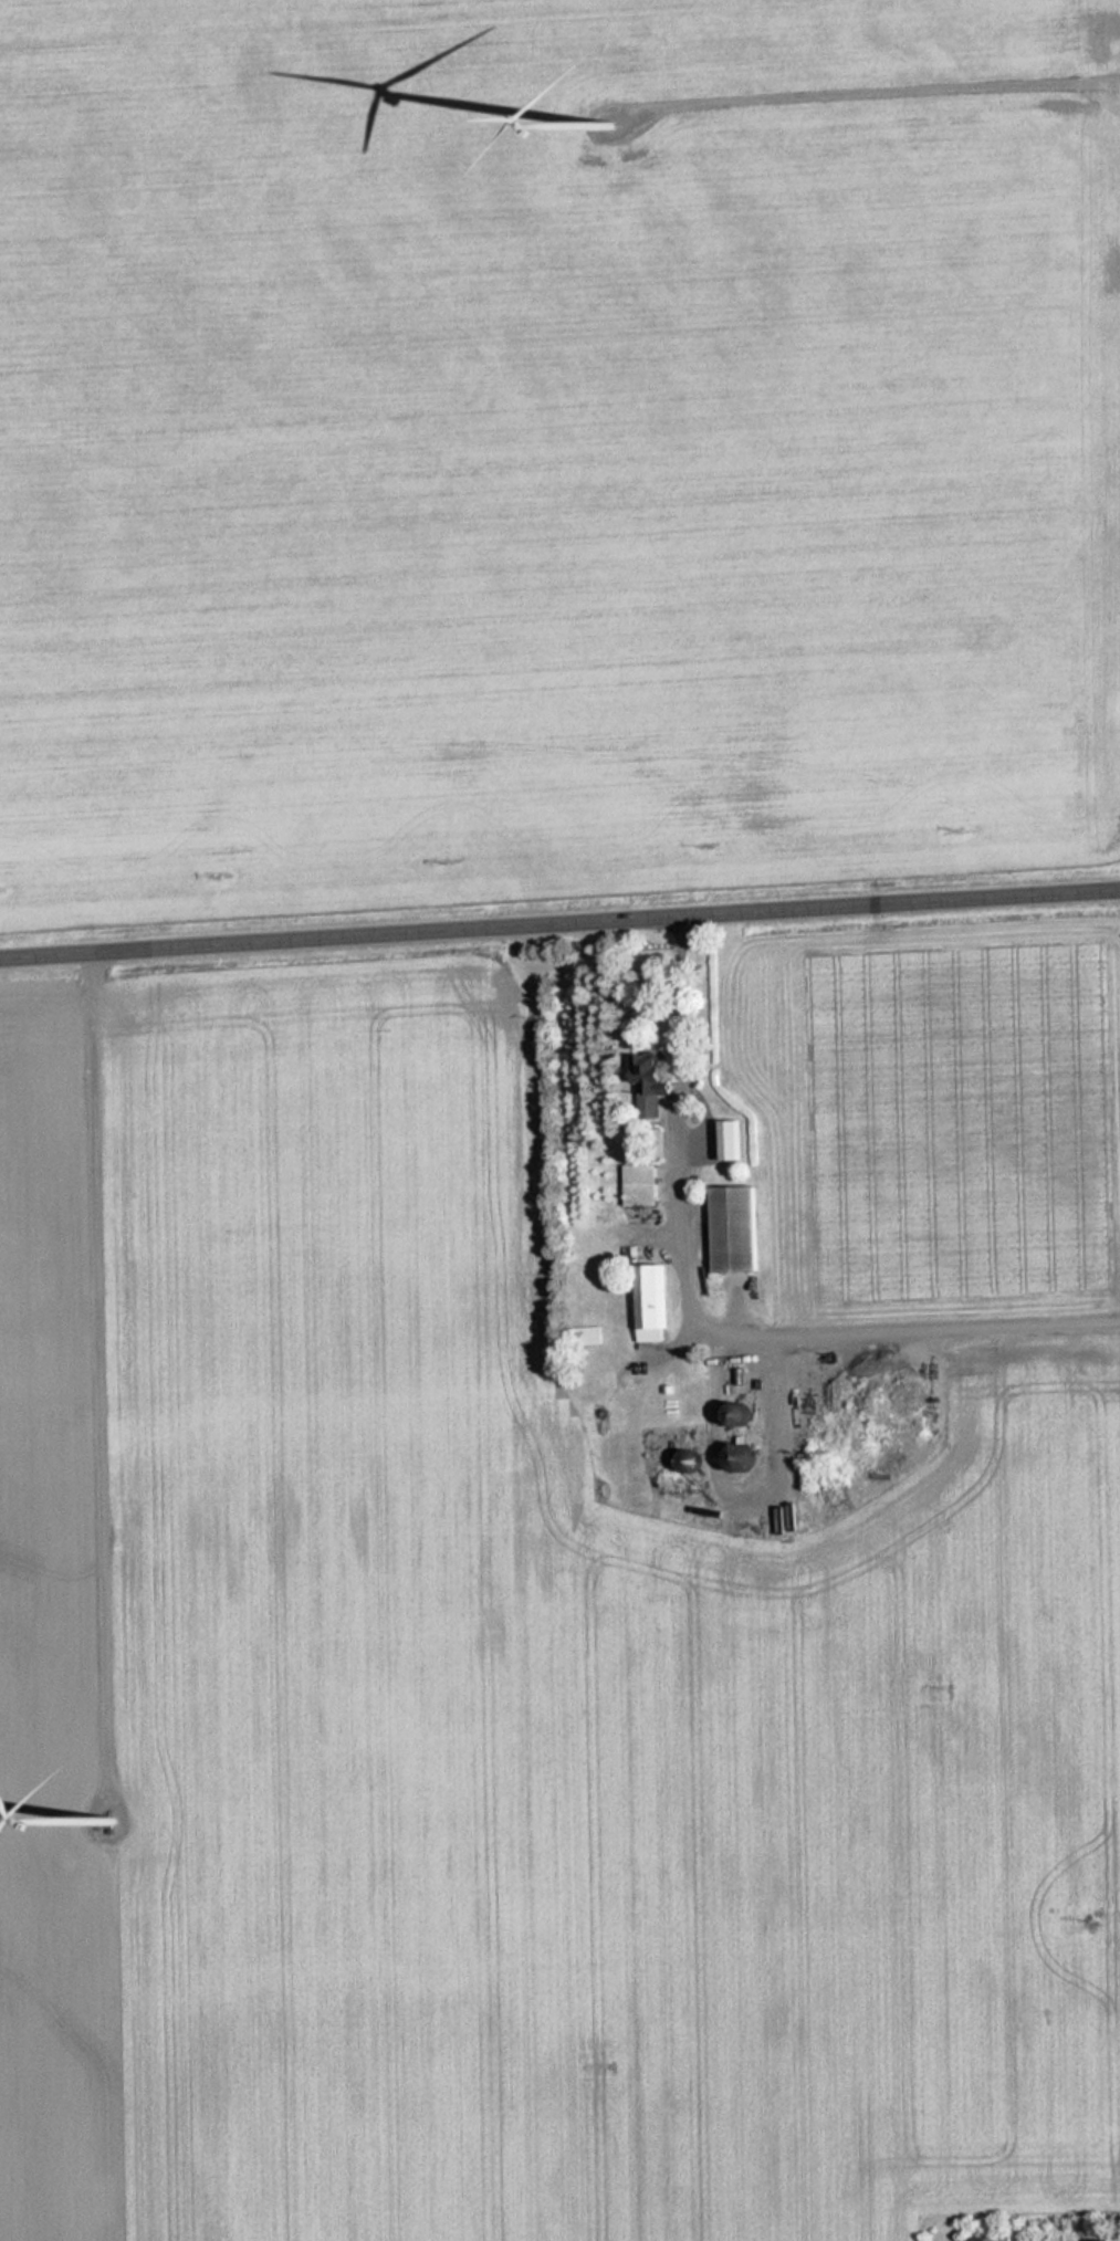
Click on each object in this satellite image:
road: (886, 94)
wind turbine: (604, 123)
road: (559, 924)
building: (651, 1086)
building: (735, 1141)
building: (645, 1185)
building: (739, 1229)
building: (649, 1302)
road: (705, 1328)
building: (590, 1338)
building: (881, 1352)
building: (927, 1359)
road: (100, 1361)
building: (749, 1415)
silo: (749, 1415)
building: (741, 1451)
building: (752, 1459)
silo: (752, 1459)
building: (694, 1462)
silo: (694, 1462)
wind turbine: (113, 1816)
building: (993, 2239)
building: (1105, 2240)

